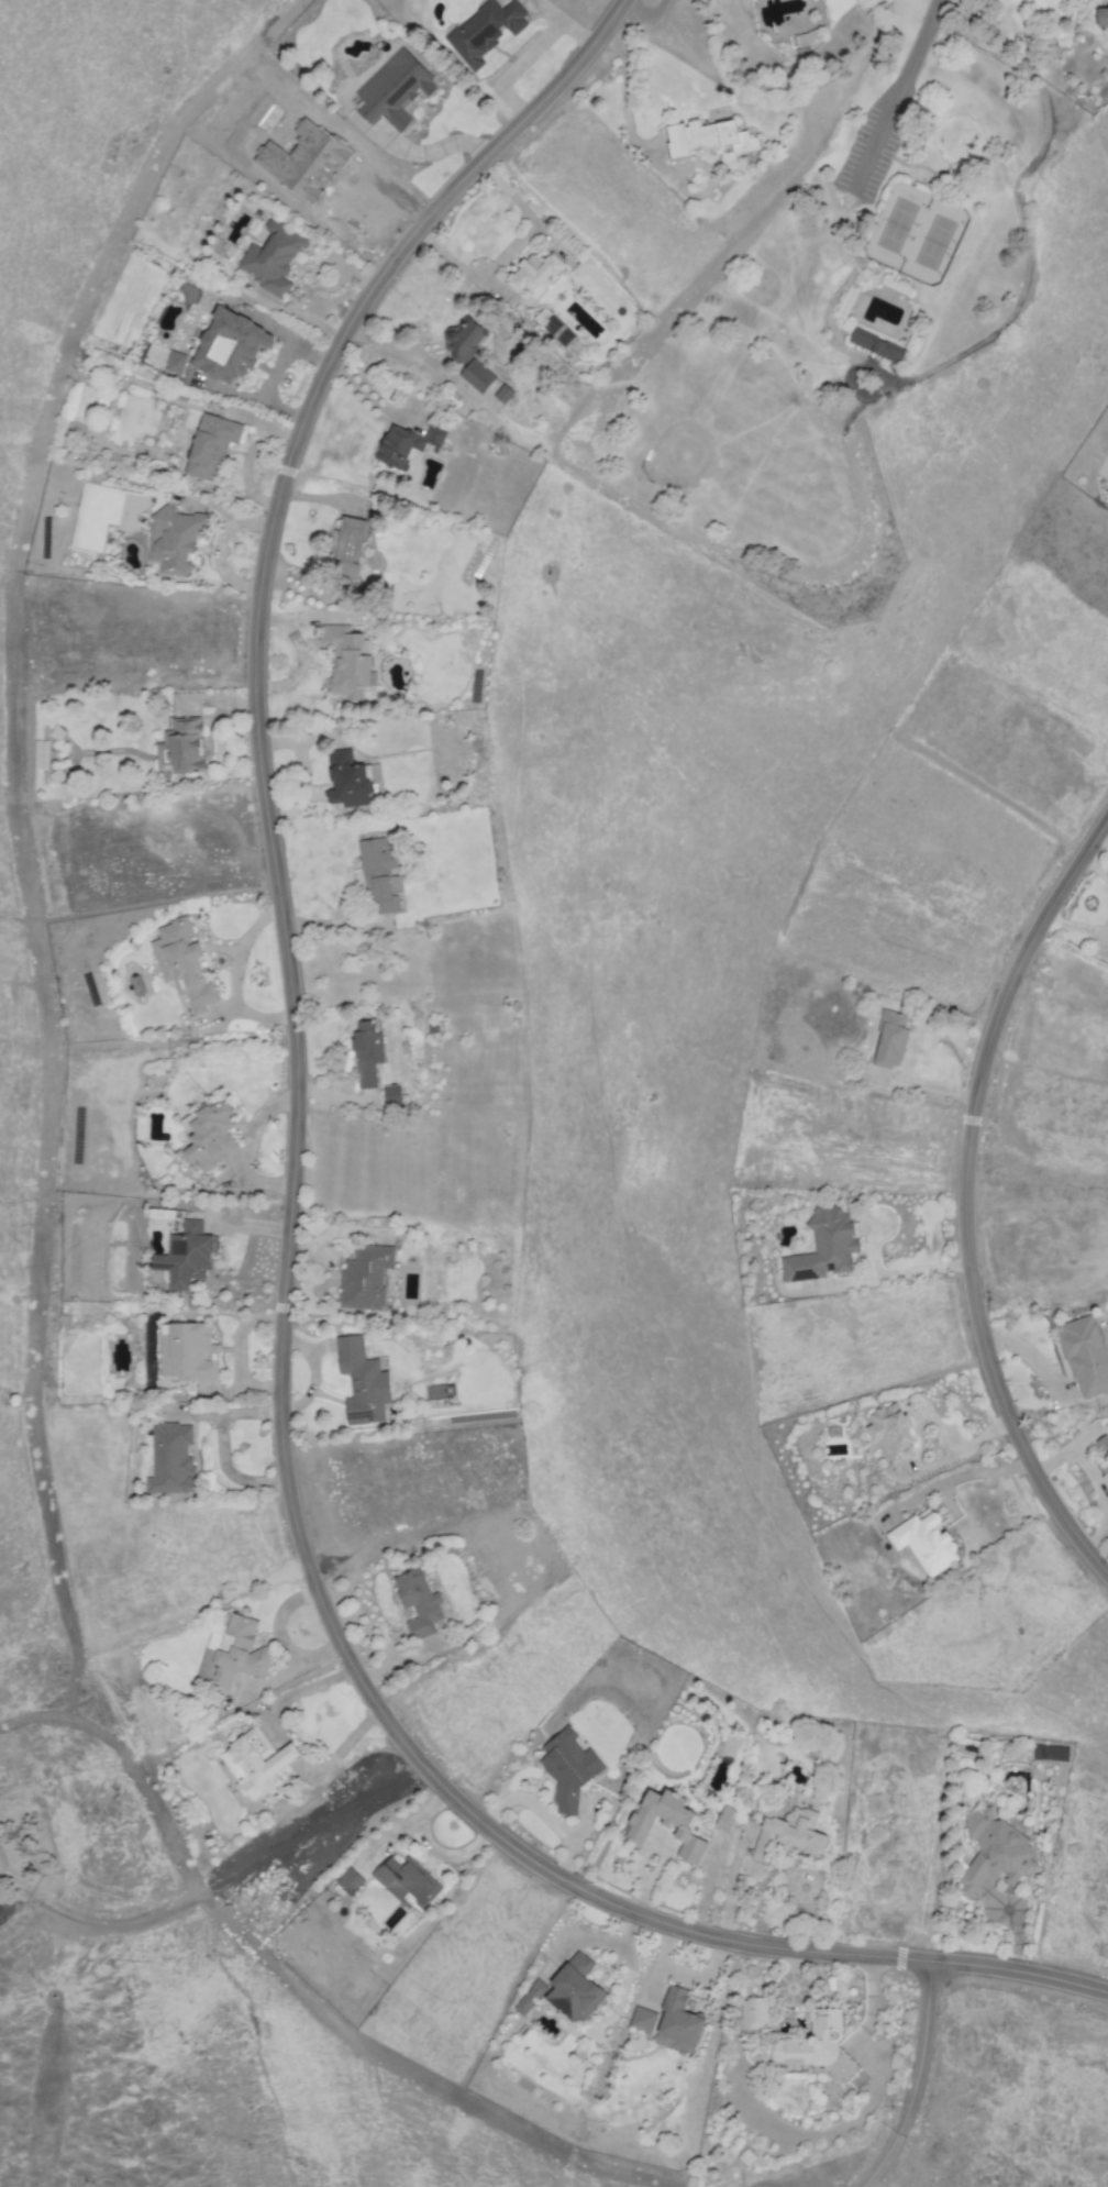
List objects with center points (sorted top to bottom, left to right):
building: (1103, 16)
building: (486, 31)
building: (395, 89)
road: (897, 98)
building: (708, 137)
building: (274, 257)
building: (536, 273)
building: (464, 340)
building: (877, 344)
building: (231, 345)
building: (176, 362)
building: (477, 376)
building: (505, 394)
building: (211, 445)
building: (406, 445)
building: (175, 540)
building: (348, 543)
building: (347, 660)
building: (181, 748)
building: (352, 780)
road: (274, 854)
building: (380, 876)
building: (184, 964)
building: (891, 1039)
building: (368, 1052)
building: (394, 1094)
building: (211, 1137)
road: (962, 1199)
building: (826, 1248)
building: (188, 1256)
building: (366, 1277)
road: (882, 1278)
building: (187, 1352)
building: (1086, 1356)
building: (363, 1382)
building: (891, 1433)
building: (1104, 1445)
road: (964, 1454)
building: (171, 1459)
road: (953, 1480)
building: (926, 1543)
building: (419, 1601)
building: (232, 1654)
building: (255, 1767)
building: (569, 1768)
building: (725, 1818)
building: (668, 1826)
building: (997, 1859)
building: (351, 1881)
building: (408, 1884)
road: (751, 1947)
building: (575, 1989)
building: (531, 1997)
building: (755, 2012)
building: (643, 2019)
building: (678, 2023)
building: (813, 2042)
road: (915, 2080)

